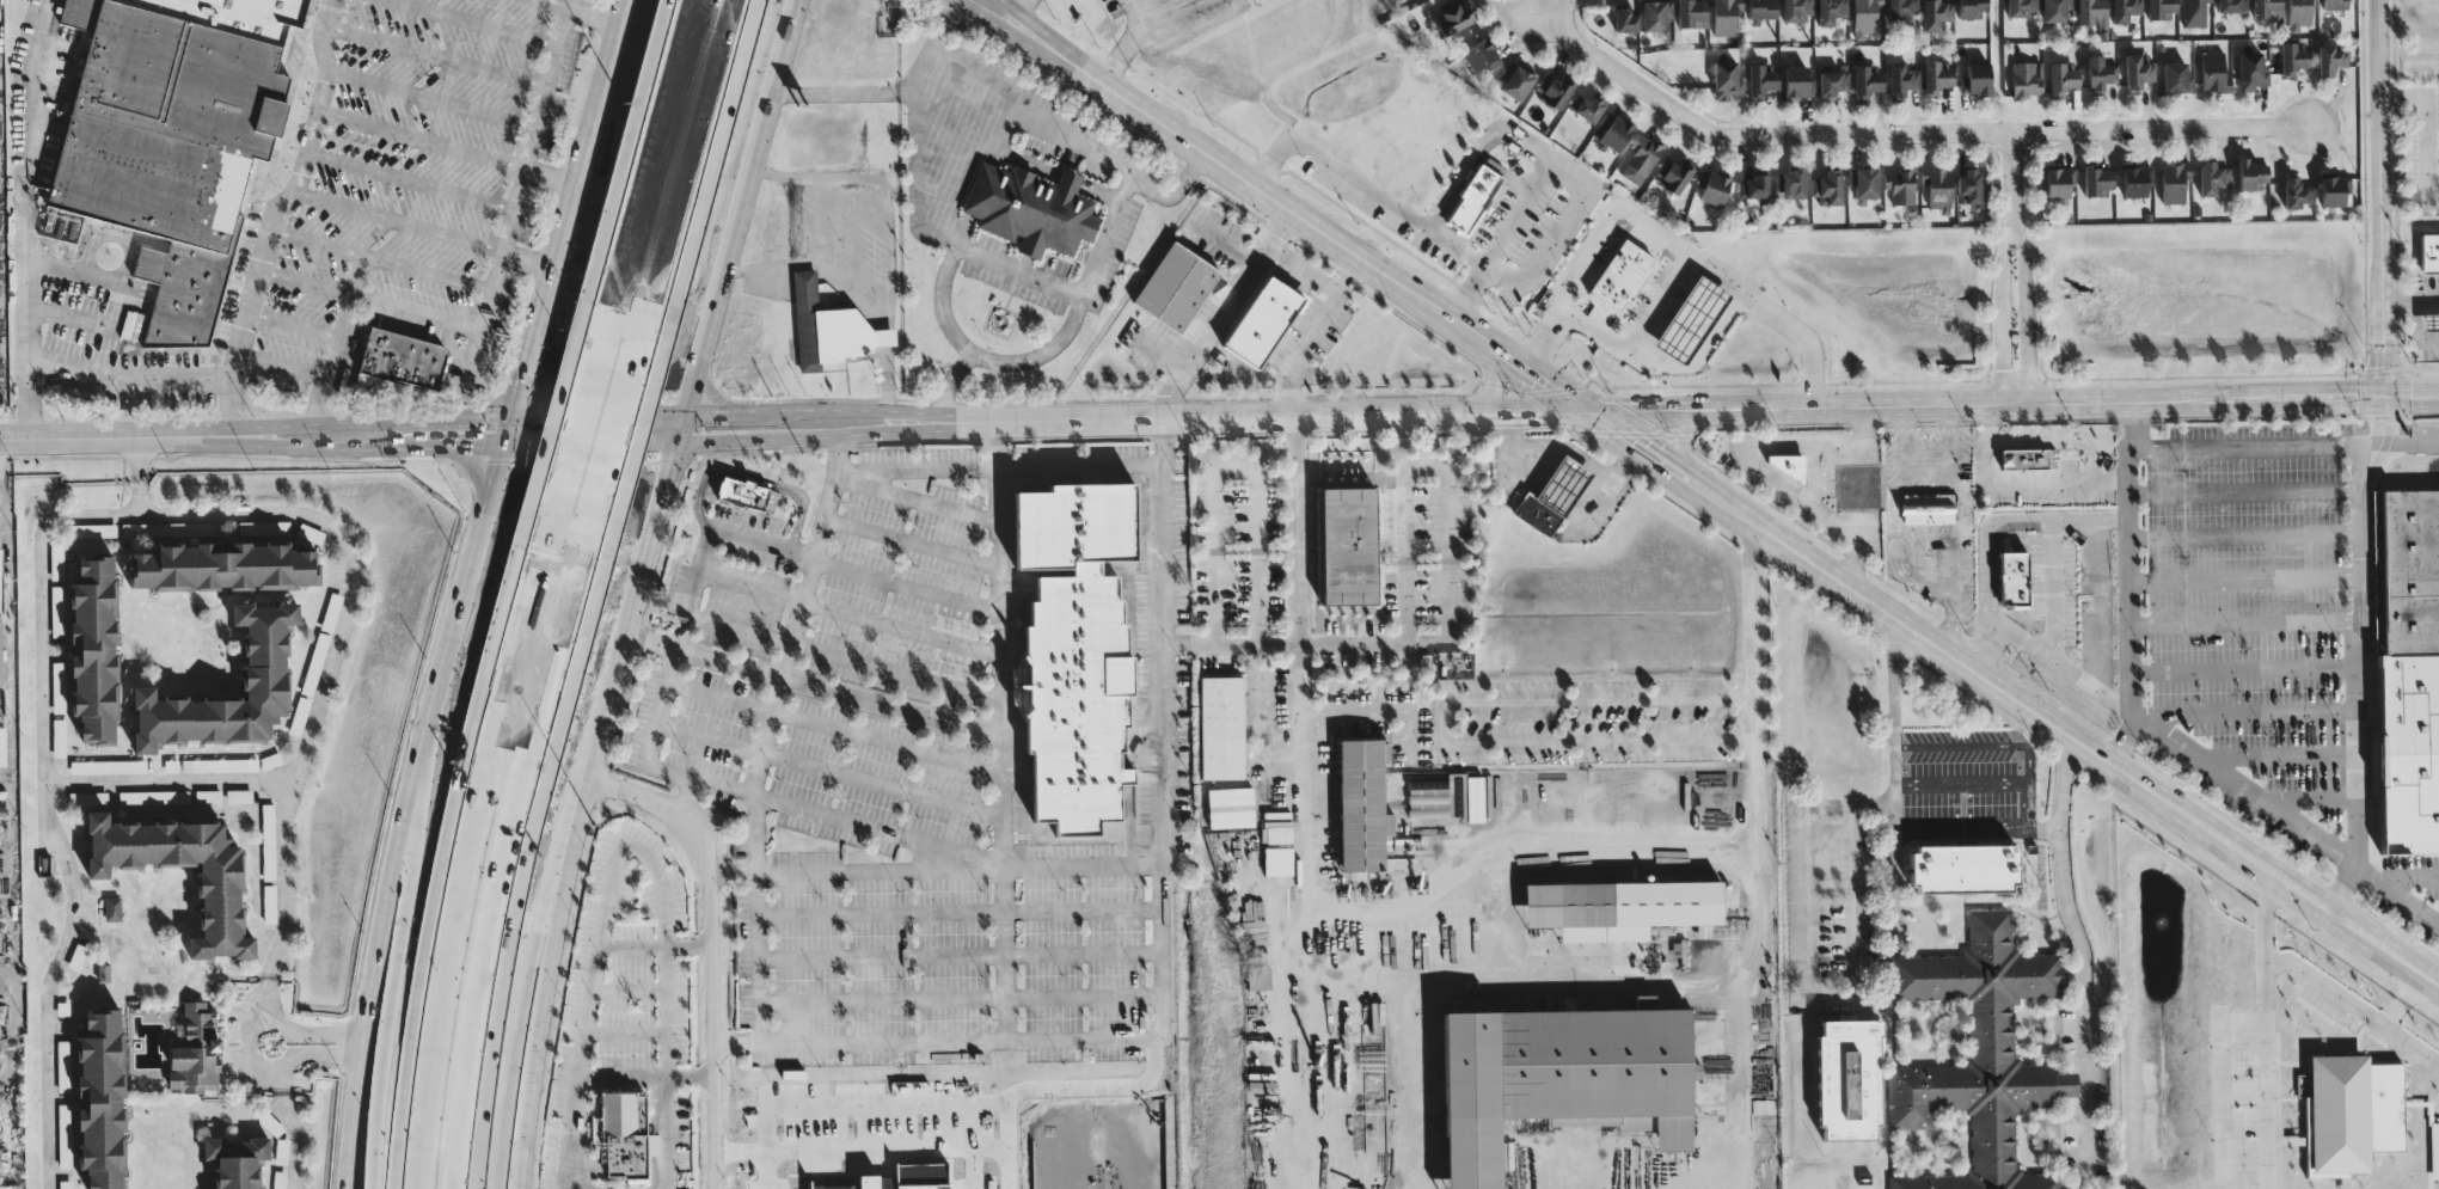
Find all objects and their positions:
road: (556, 4)
road: (568, 4)
building: (2336, 5)
building: (2233, 6)
building: (2023, 7)
road: (1021, 8)
road: (1546, 8)
building: (1764, 8)
building: (1904, 8)
building: (1973, 8)
building: (2164, 8)
building: (2268, 8)
building: (1798, 10)
building: (2057, 10)
building: (2126, 10)
building: (1832, 11)
road: (1013, 12)
building: (2094, 12)
building: (2194, 12)
building: (1693, 13)
building: (1937, 13)
building: (2300, 13)
road: (1178, 14)
road: (593, 16)
building: (1657, 16)
building: (1456, 17)
building: (1727, 17)
building: (1867, 17)
road: (988, 18)
building: (1626, 20)
road: (1133, 39)
road: (786, 48)
building: (1481, 55)
road: (608, 59)
building: (2294, 59)
building: (2331, 59)
building: (2101, 71)
building: (2138, 71)
building: (2253, 71)
building: (2216, 72)
building: (1937, 76)
building: (2064, 76)
building: (2178, 76)
building: (1978, 78)
building: (2026, 78)
building: (1728, 79)
building: (1763, 79)
building: (1902, 79)
building: (1519, 80)
building: (1800, 80)
building: (1833, 81)
building: (1868, 81)
building: (1554, 88)
road: (1005, 100)
building: (1591, 106)
road: (2426, 123)
building: (1617, 133)
road: (1904, 133)
road: (421, 137)
building: (174, 139)
road: (1479, 143)
building: (1641, 158)
building: (2253, 172)
road: (551, 174)
building: (1674, 174)
parking lot: (407, 176)
building: (2214, 177)
road: (639, 179)
building: (2098, 179)
building: (2138, 179)
road: (410, 180)
building: (1791, 180)
road: (690, 182)
building: (2061, 182)
building: (2175, 182)
building: (1971, 184)
road: (1582, 185)
building: (1754, 185)
building: (1901, 185)
building: (1828, 186)
building: (1717, 188)
building: (2337, 189)
building: (2298, 191)
building: (1472, 198)
road: (2379, 200)
road: (2409, 201)
road: (1389, 202)
building: (1032, 208)
road: (274, 213)
road: (24, 217)
road: (396, 222)
road: (822, 222)
road: (856, 234)
road: (1665, 237)
road: (1228, 243)
building: (2431, 252)
road: (529, 258)
road: (729, 261)
road: (1001, 264)
road: (885, 266)
road: (1305, 268)
road: (2014, 268)
road: (552, 274)
building: (1622, 275)
road: (305, 278)
road: (497, 278)
building: (1177, 284)
road: (2410, 301)
road: (1660, 304)
road: (1225, 314)
building: (1695, 317)
gas station: (1695, 317)
building: (1266, 319)
building: (2432, 320)
road: (294, 321)
building: (831, 326)
road: (2417, 327)
road: (1312, 331)
road: (1169, 356)
building: (403, 357)
road: (987, 357)
road: (1659, 366)
road: (282, 367)
road: (1494, 376)
road: (127, 378)
road: (949, 379)
road: (612, 382)
road: (2400, 397)
road: (2327, 398)
traffic signals: (2360, 398)
traffic signals: (1577, 405)
road: (1647, 405)
road: (325, 406)
road: (887, 409)
road: (728, 411)
traffic signals: (687, 427)
traffic signals: (513, 430)
road: (343, 433)
road: (841, 433)
road: (1680, 439)
road: (568, 441)
road: (2400, 442)
road: (2245, 443)
road: (1545, 448)
road: (620, 449)
road: (837, 451)
road: (139, 458)
building: (2030, 458)
road: (1081, 461)
road: (1748, 461)
road: (587, 466)
building: (1790, 466)
road: (1930, 466)
road: (674, 467)
road: (1234, 467)
road: (750, 477)
road: (1812, 484)
road: (1606, 485)
road: (2245, 490)
building: (747, 492)
building: (1554, 496)
road: (500, 503)
road: (1966, 505)
road: (1729, 508)
building: (1931, 509)
road: (1447, 523)
building: (128, 528)
building: (92, 529)
road: (1985, 533)
road: (2245, 533)
road: (707, 535)
road: (652, 538)
road: (1943, 538)
building: (1352, 545)
building: (225, 565)
building: (2016, 577)
road: (2247, 578)
building: (0, 581)
road: (2131, 584)
road: (2055, 595)
road: (1301, 613)
road: (2247, 624)
road: (1754, 643)
road: (1232, 645)
building: (96, 648)
building: (2413, 651)
building: (0, 654)
building: (1076, 655)
road: (452, 657)
road: (2363, 660)
road: (2248, 668)
road: (327, 673)
road: (2067, 673)
building: (266, 675)
road: (813, 685)
building: (57, 686)
road: (2249, 712)
road: (1375, 716)
road: (1441, 722)
road: (655, 725)
building: (1222, 727)
road: (2000, 740)
building: (2, 746)
road: (2282, 754)
road: (1893, 779)
road: (2245, 787)
parking lot: (894, 793)
building: (151, 796)
road: (635, 796)
building: (1448, 797)
road: (2314, 798)
road: (48, 799)
building: (1231, 807)
building: (1363, 807)
road: (829, 815)
road: (1974, 821)
building: (1276, 831)
road: (1551, 845)
road: (466, 854)
road: (517, 860)
road: (1083, 868)
building: (1968, 868)
road: (733, 871)
road: (564, 872)
road: (2395, 877)
road: (284, 880)
building: (220, 887)
road: (2407, 902)
building: (112, 907)
building: (1623, 907)
road: (600, 933)
road: (2082, 948)
road: (758, 950)
road: (1003, 954)
road: (378, 963)
road: (398, 964)
road: (1752, 974)
road: (1808, 975)
building: (1258, 976)
road: (1392, 988)
road: (712, 999)
road: (2402, 1003)
road: (525, 1004)
road: (2352, 1010)
road: (669, 1016)
road: (317, 1031)
road: (2263, 1031)
road: (246, 1037)
road: (737, 1042)
building: (196, 1052)
road: (317, 1053)
building: (1980, 1053)
building: (63, 1065)
building: (1565, 1073)
building: (1852, 1079)
building: (103, 1098)
road: (2219, 1103)
road: (667, 1111)
building: (2354, 1113)
building: (623, 1132)
road: (294, 1140)
building: (2434, 1150)
building: (237, 1160)

